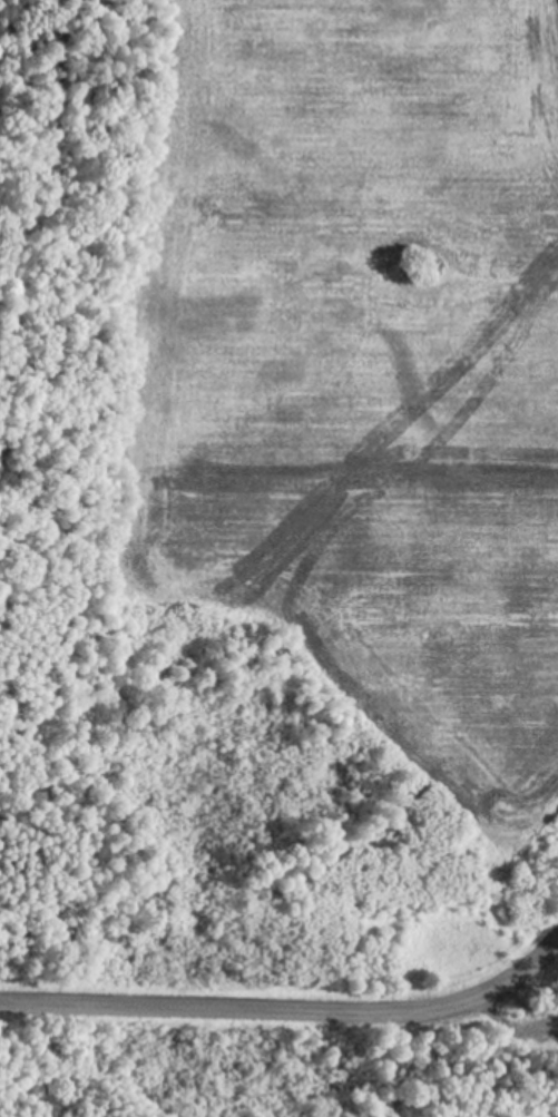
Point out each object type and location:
road: (292, 982)

